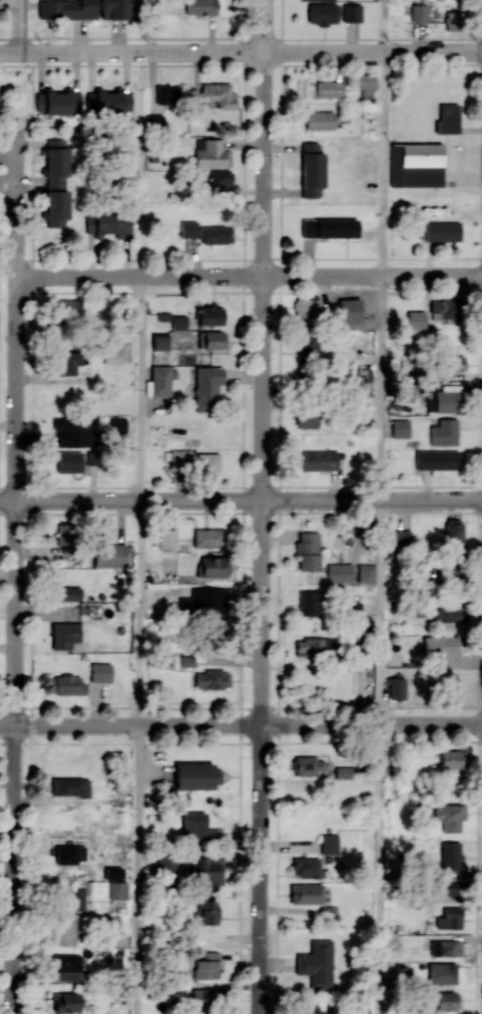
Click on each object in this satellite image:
building: (199, 7)
building: (67, 9)
building: (117, 9)
building: (418, 12)
building: (322, 13)
building: (351, 13)
building: (452, 20)
road: (382, 25)
road: (20, 26)
road: (240, 51)
building: (367, 85)
building: (329, 88)
building: (167, 94)
building: (219, 94)
building: (62, 102)
building: (112, 102)
building: (447, 118)
building: (317, 120)
building: (154, 122)
building: (211, 154)
road: (381, 163)
building: (415, 164)
building: (311, 169)
building: (220, 177)
road: (9, 182)
building: (56, 182)
building: (111, 222)
building: (328, 228)
building: (441, 231)
building: (206, 232)
road: (250, 275)
building: (65, 307)
building: (443, 309)
building: (343, 310)
building: (306, 312)
building: (210, 315)
building: (178, 322)
building: (426, 322)
building: (214, 340)
building: (159, 341)
building: (309, 347)
building: (111, 351)
building: (66, 362)
road: (265, 362)
building: (455, 363)
building: (162, 379)
road: (138, 387)
road: (380, 387)
building: (207, 388)
building: (403, 392)
building: (446, 401)
building: (307, 420)
building: (117, 424)
building: (399, 428)
road: (17, 429)
building: (74, 431)
building: (444, 432)
building: (179, 459)
building: (436, 459)
building: (75, 460)
building: (319, 460)
building: (207, 462)
road: (240, 499)
building: (453, 533)
building: (65, 536)
building: (207, 537)
building: (166, 538)
building: (402, 538)
building: (307, 551)
building: (109, 555)
building: (214, 567)
building: (339, 572)
building: (365, 573)
building: (67, 593)
building: (309, 603)
building: (353, 607)
road: (137, 612)
road: (380, 612)
building: (448, 613)
building: (216, 627)
building: (64, 634)
building: (313, 646)
building: (439, 646)
building: (100, 672)
building: (211, 679)
building: (68, 685)
building: (396, 689)
road: (136, 705)
road: (240, 725)
road: (135, 742)
building: (452, 759)
building: (308, 765)
building: (342, 772)
building: (196, 776)
building: (449, 816)
building: (197, 828)
building: (328, 843)
building: (70, 854)
building: (450, 855)
building: (165, 863)
building: (305, 867)
road: (262, 869)
road: (379, 869)
road: (14, 870)
road: (135, 870)
building: (206, 871)
building: (114, 873)
building: (451, 888)
building: (306, 893)
building: (119, 895)
building: (73, 899)
building: (205, 911)
building: (448, 918)
building: (108, 923)
building: (64, 930)
building: (394, 941)
building: (441, 947)
building: (317, 963)
building: (206, 965)
building: (65, 968)
building: (441, 973)
building: (208, 996)
building: (447, 1000)
building: (65, 1002)
building: (311, 1010)

